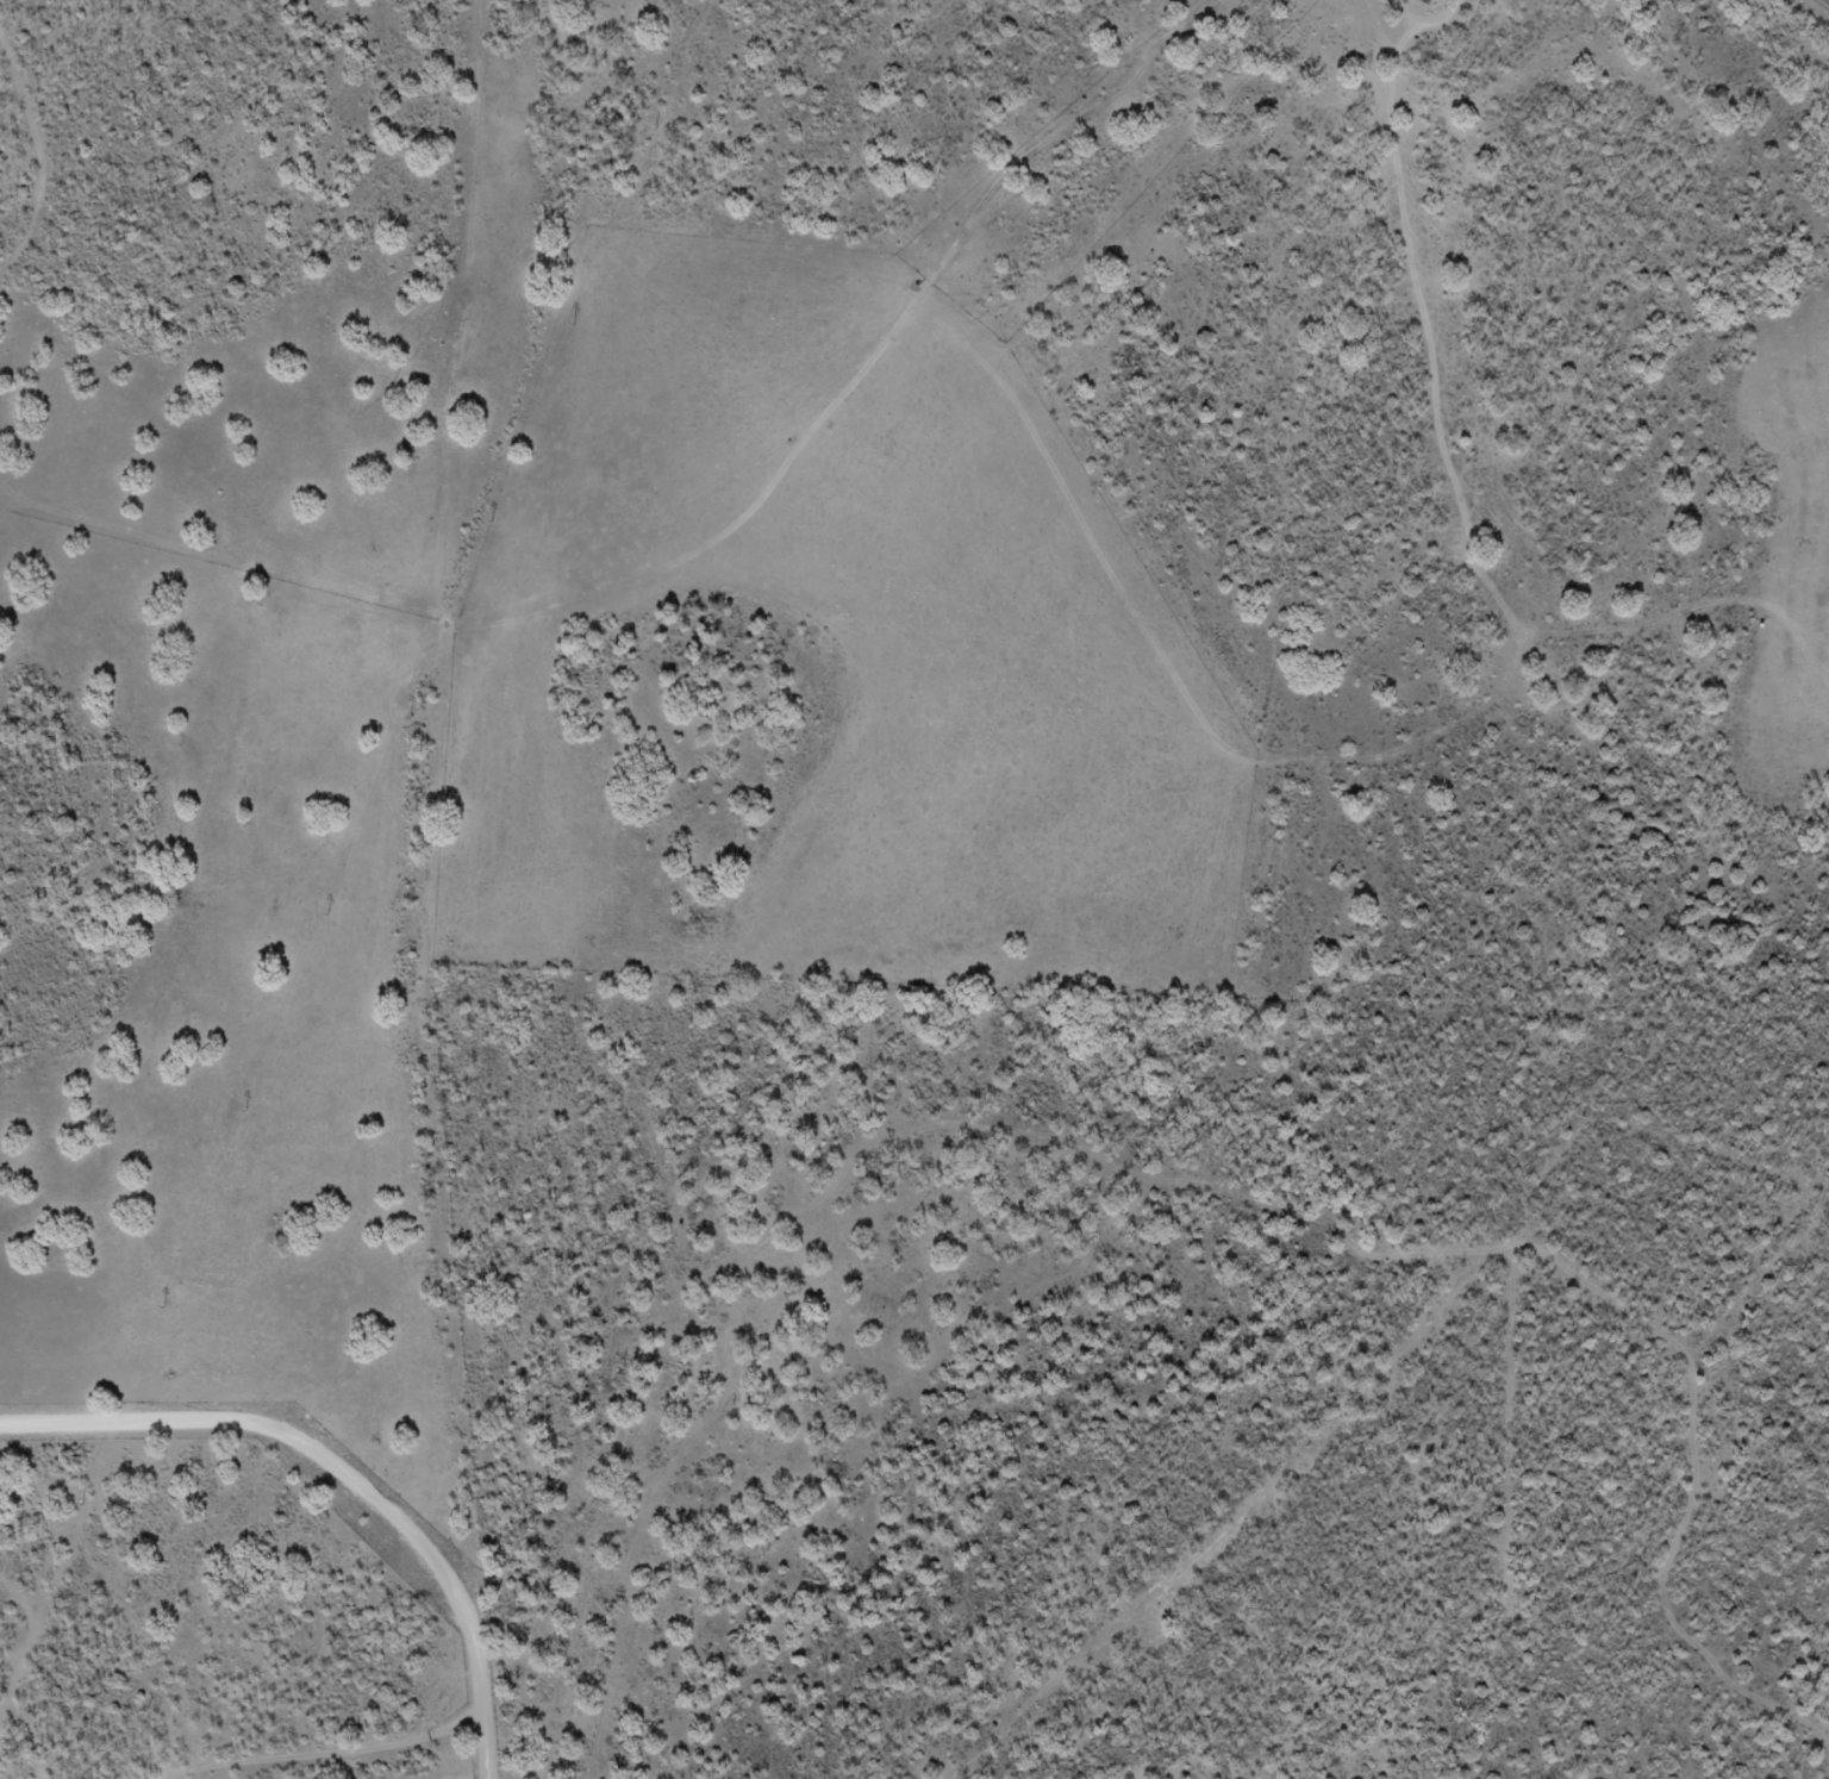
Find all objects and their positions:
road: (357, 1468)
road: (302, 1749)

